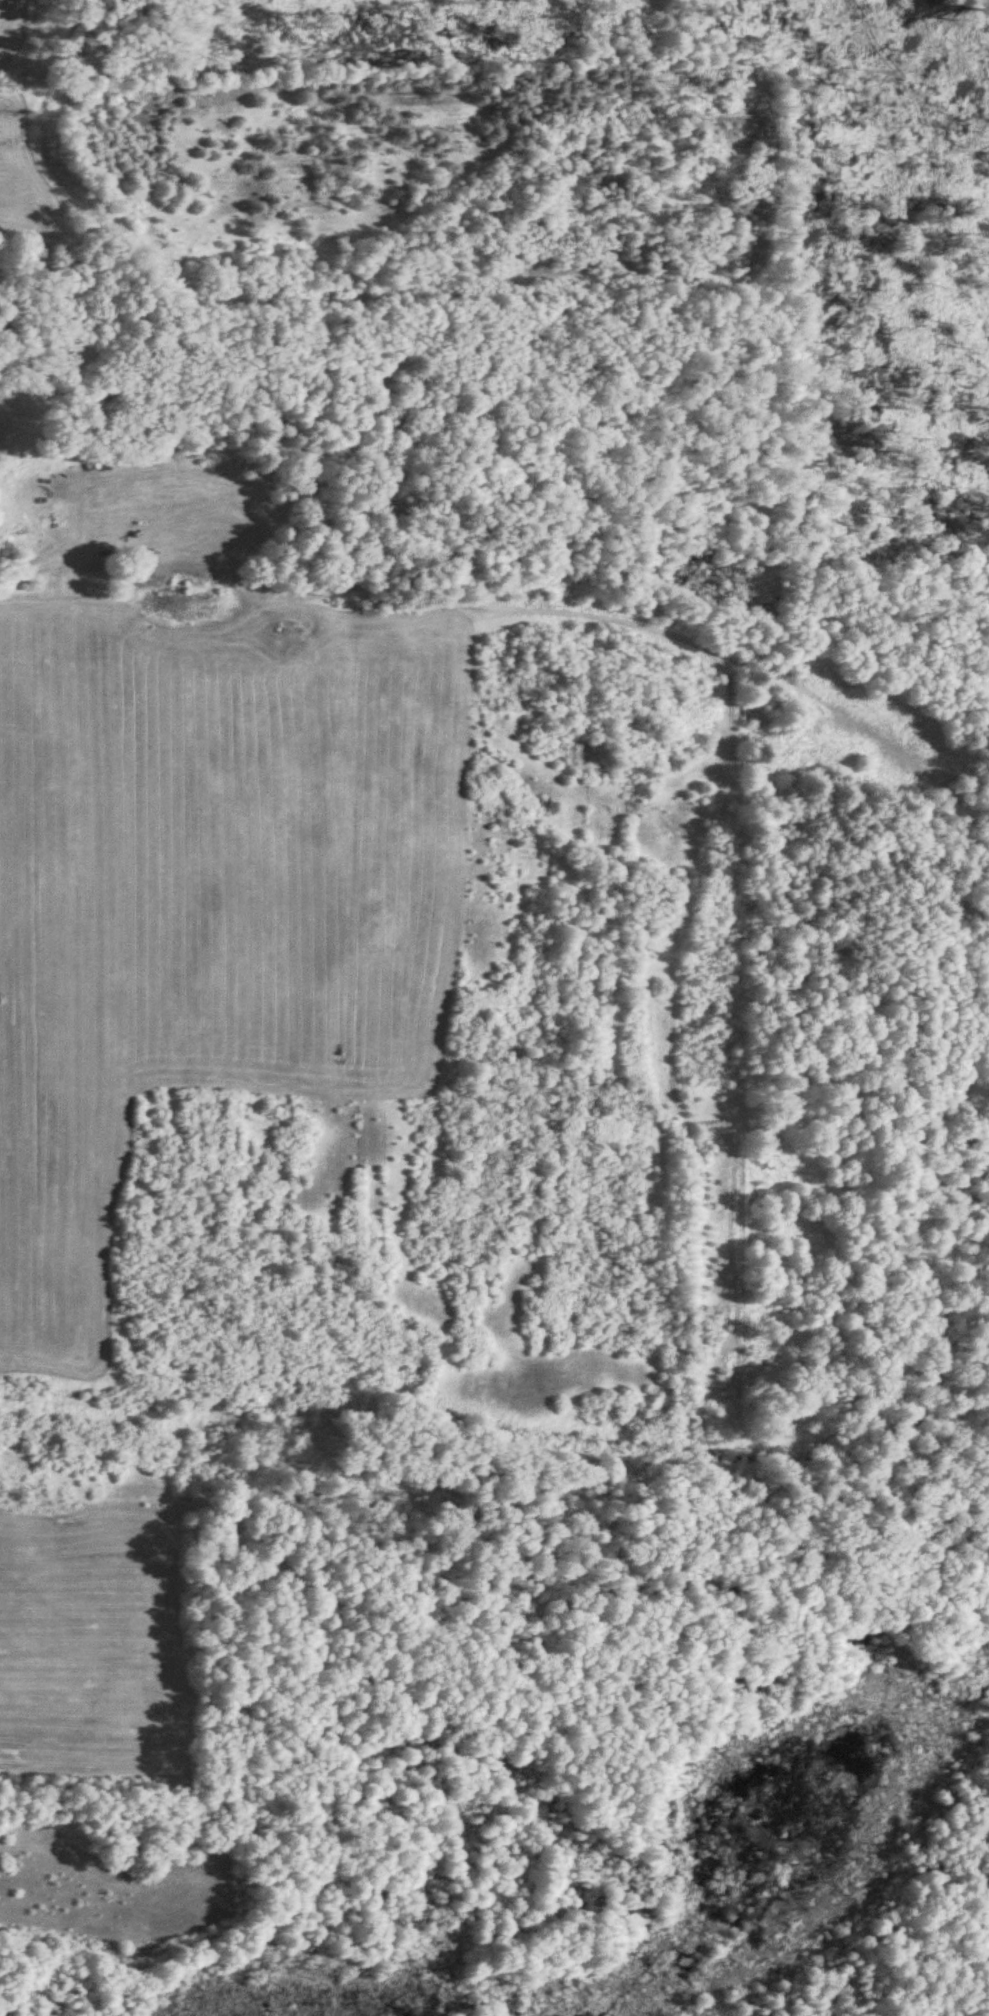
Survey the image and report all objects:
building: (384, 503)
road: (61, 561)

